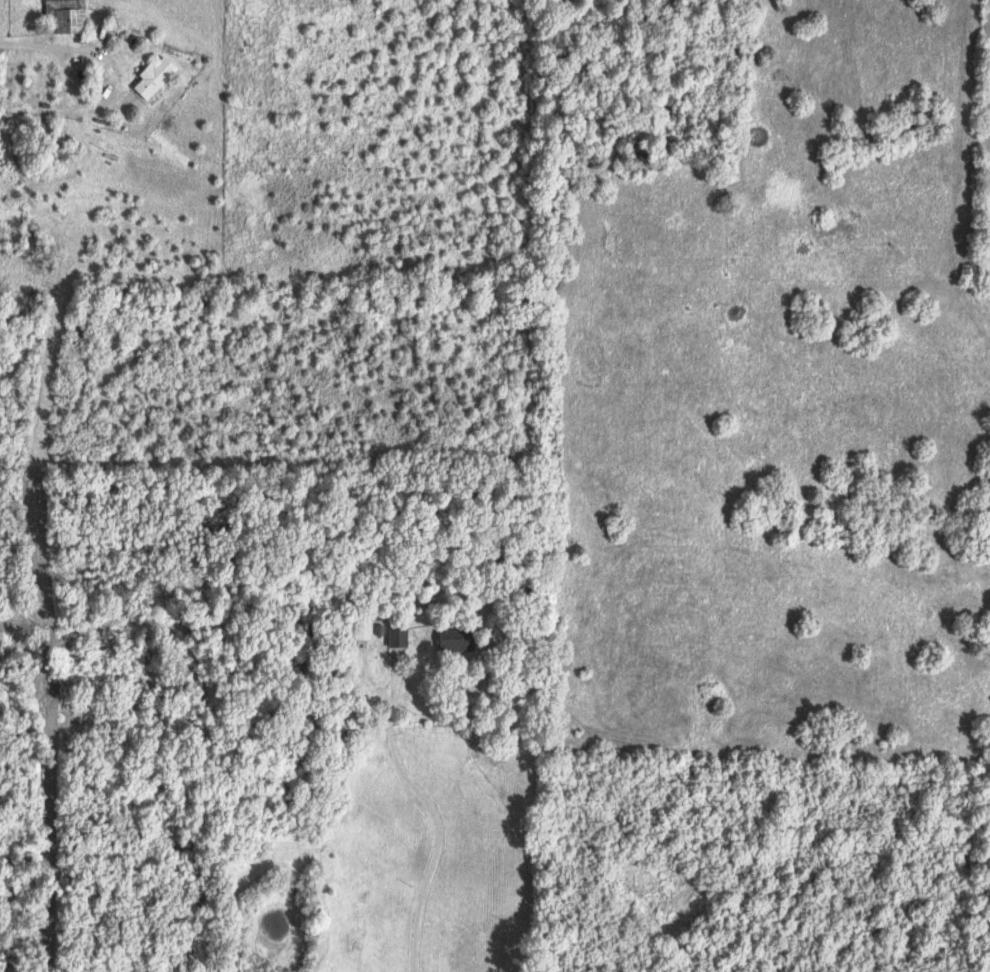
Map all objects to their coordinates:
building: (66, 16)
road: (28, 44)
building: (156, 77)
road: (111, 93)
building: (365, 628)
building: (400, 635)
building: (458, 638)
road: (55, 811)
road: (433, 833)

